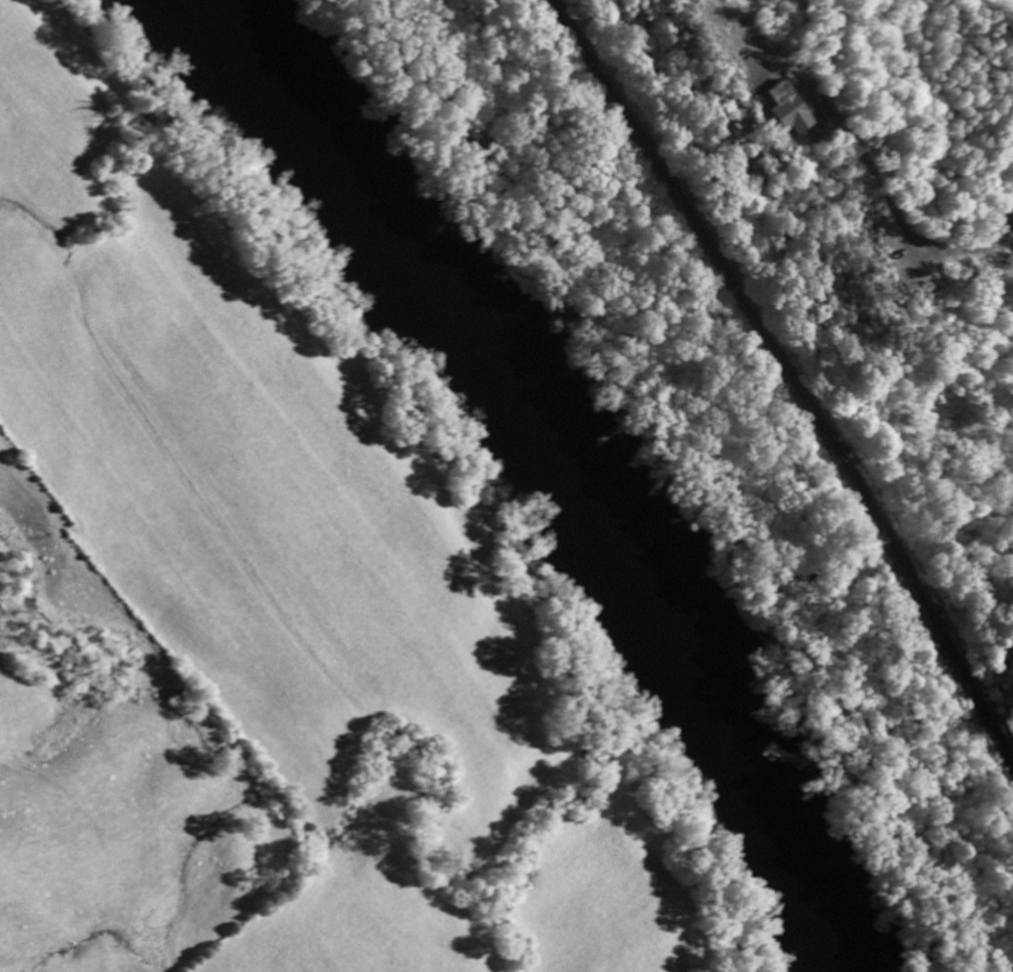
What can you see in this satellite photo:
road: (995, 18)
building: (788, 117)
railway: (791, 376)
river: (554, 469)

